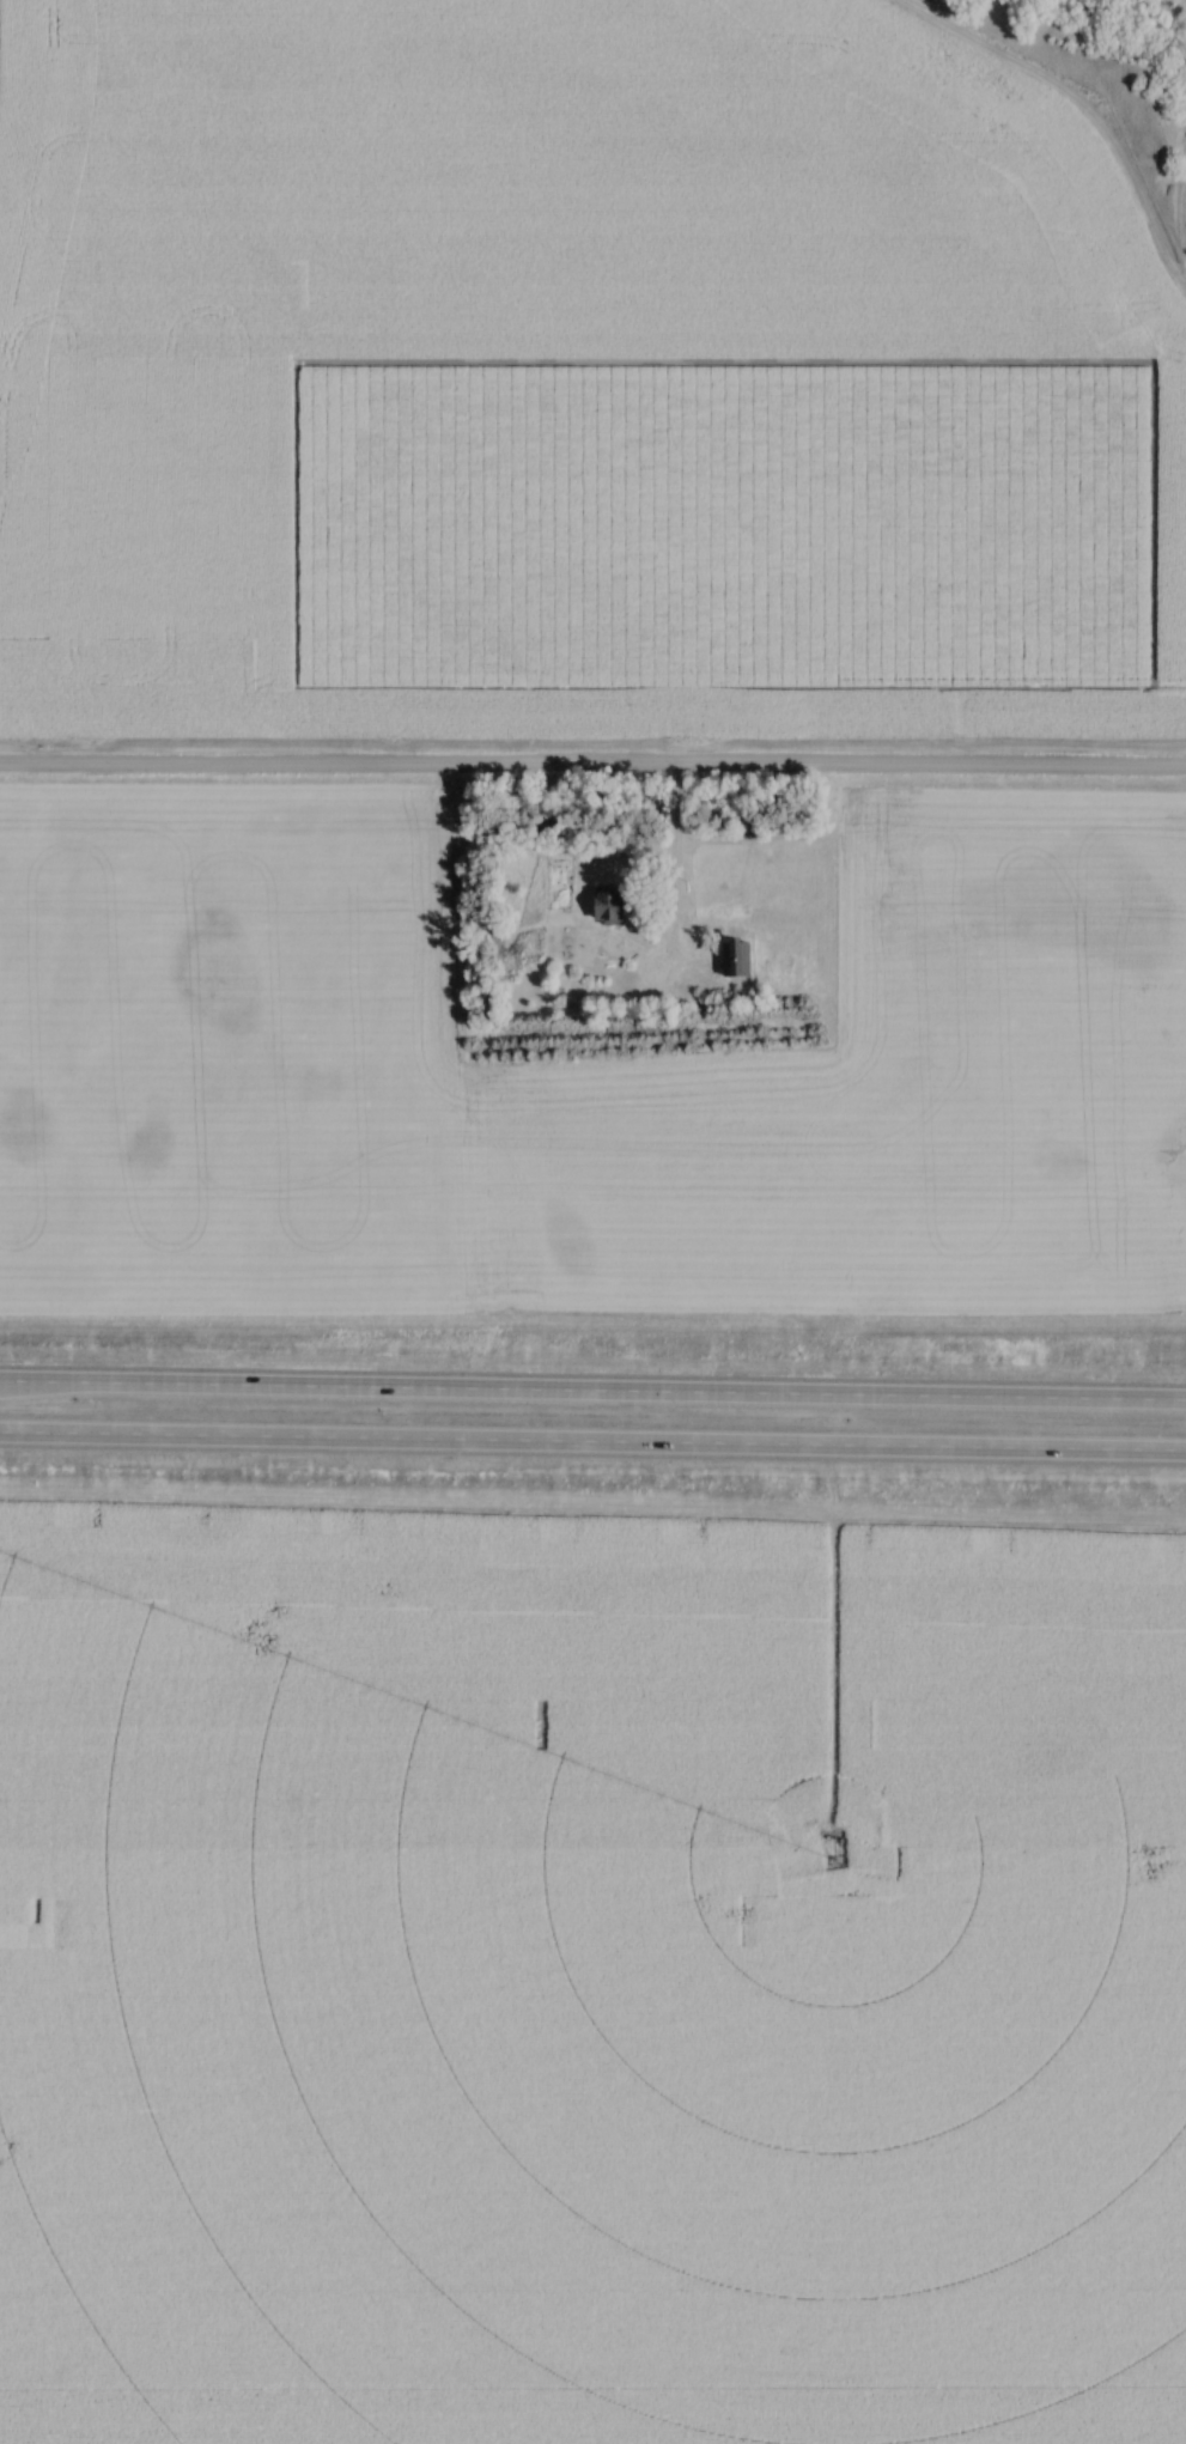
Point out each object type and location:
road: (1182, 245)
road: (592, 772)
road: (673, 862)
building: (613, 906)
building: (736, 957)
road: (592, 1387)
road: (592, 1445)

